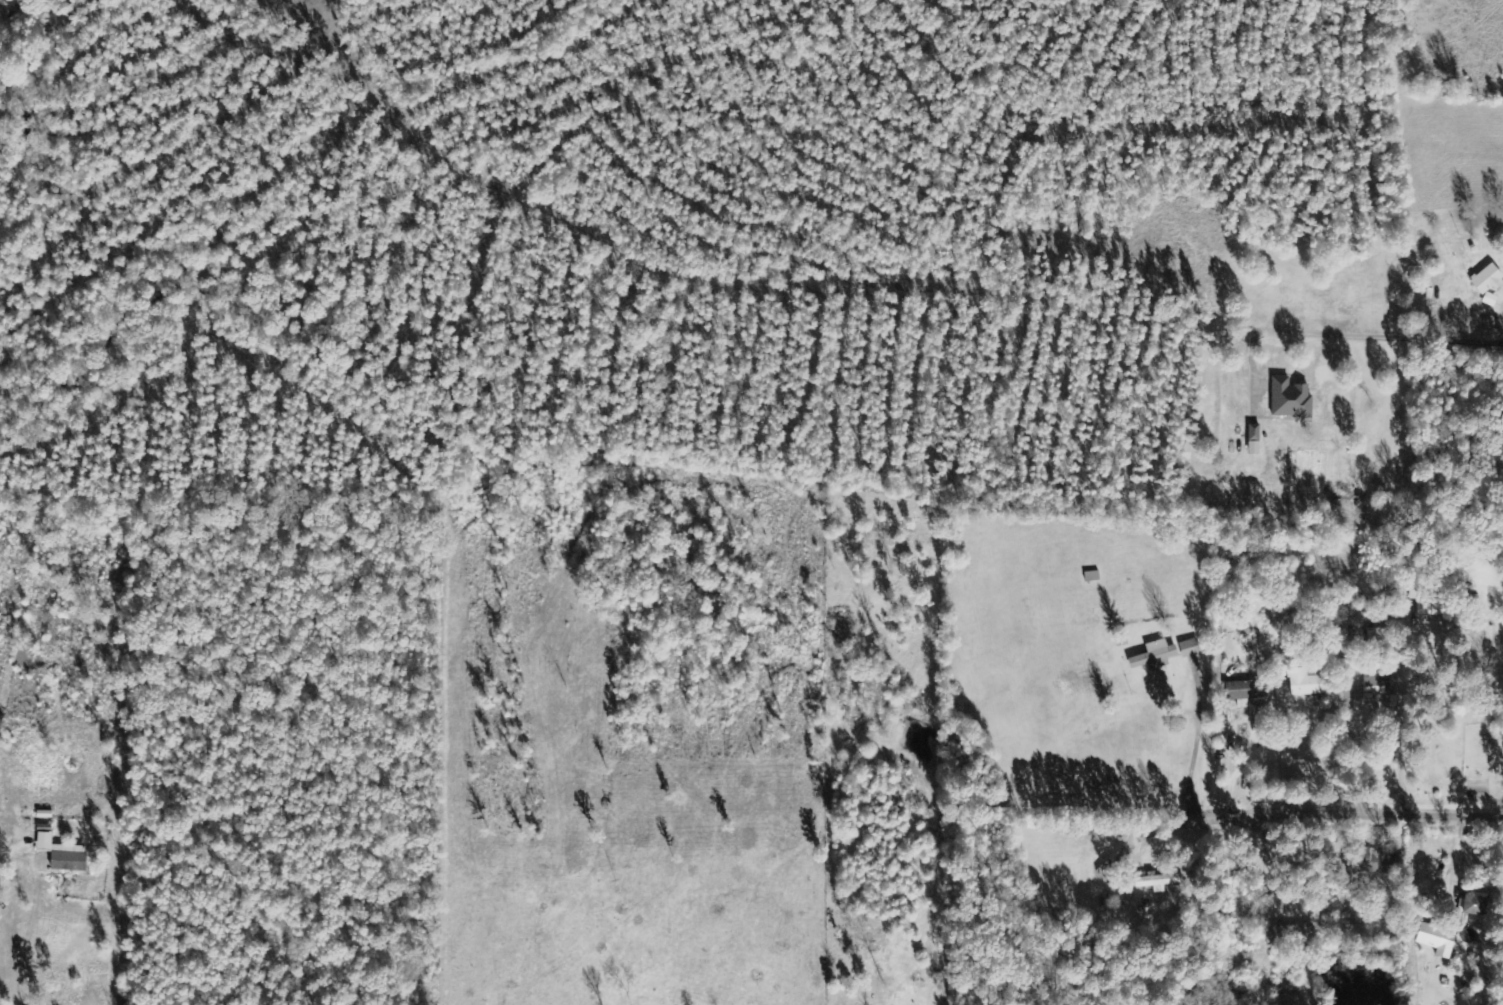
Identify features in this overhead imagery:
building: (1487, 279)
building: (1290, 398)
building: (1254, 432)
building: (1426, 599)
building: (1189, 648)
building: (1155, 656)
building: (1377, 678)
building: (1306, 683)
building: (1246, 691)
road: (1350, 817)
building: (59, 856)
building: (1158, 882)
building: (1475, 904)
building: (1290, 934)
building: (1435, 940)

